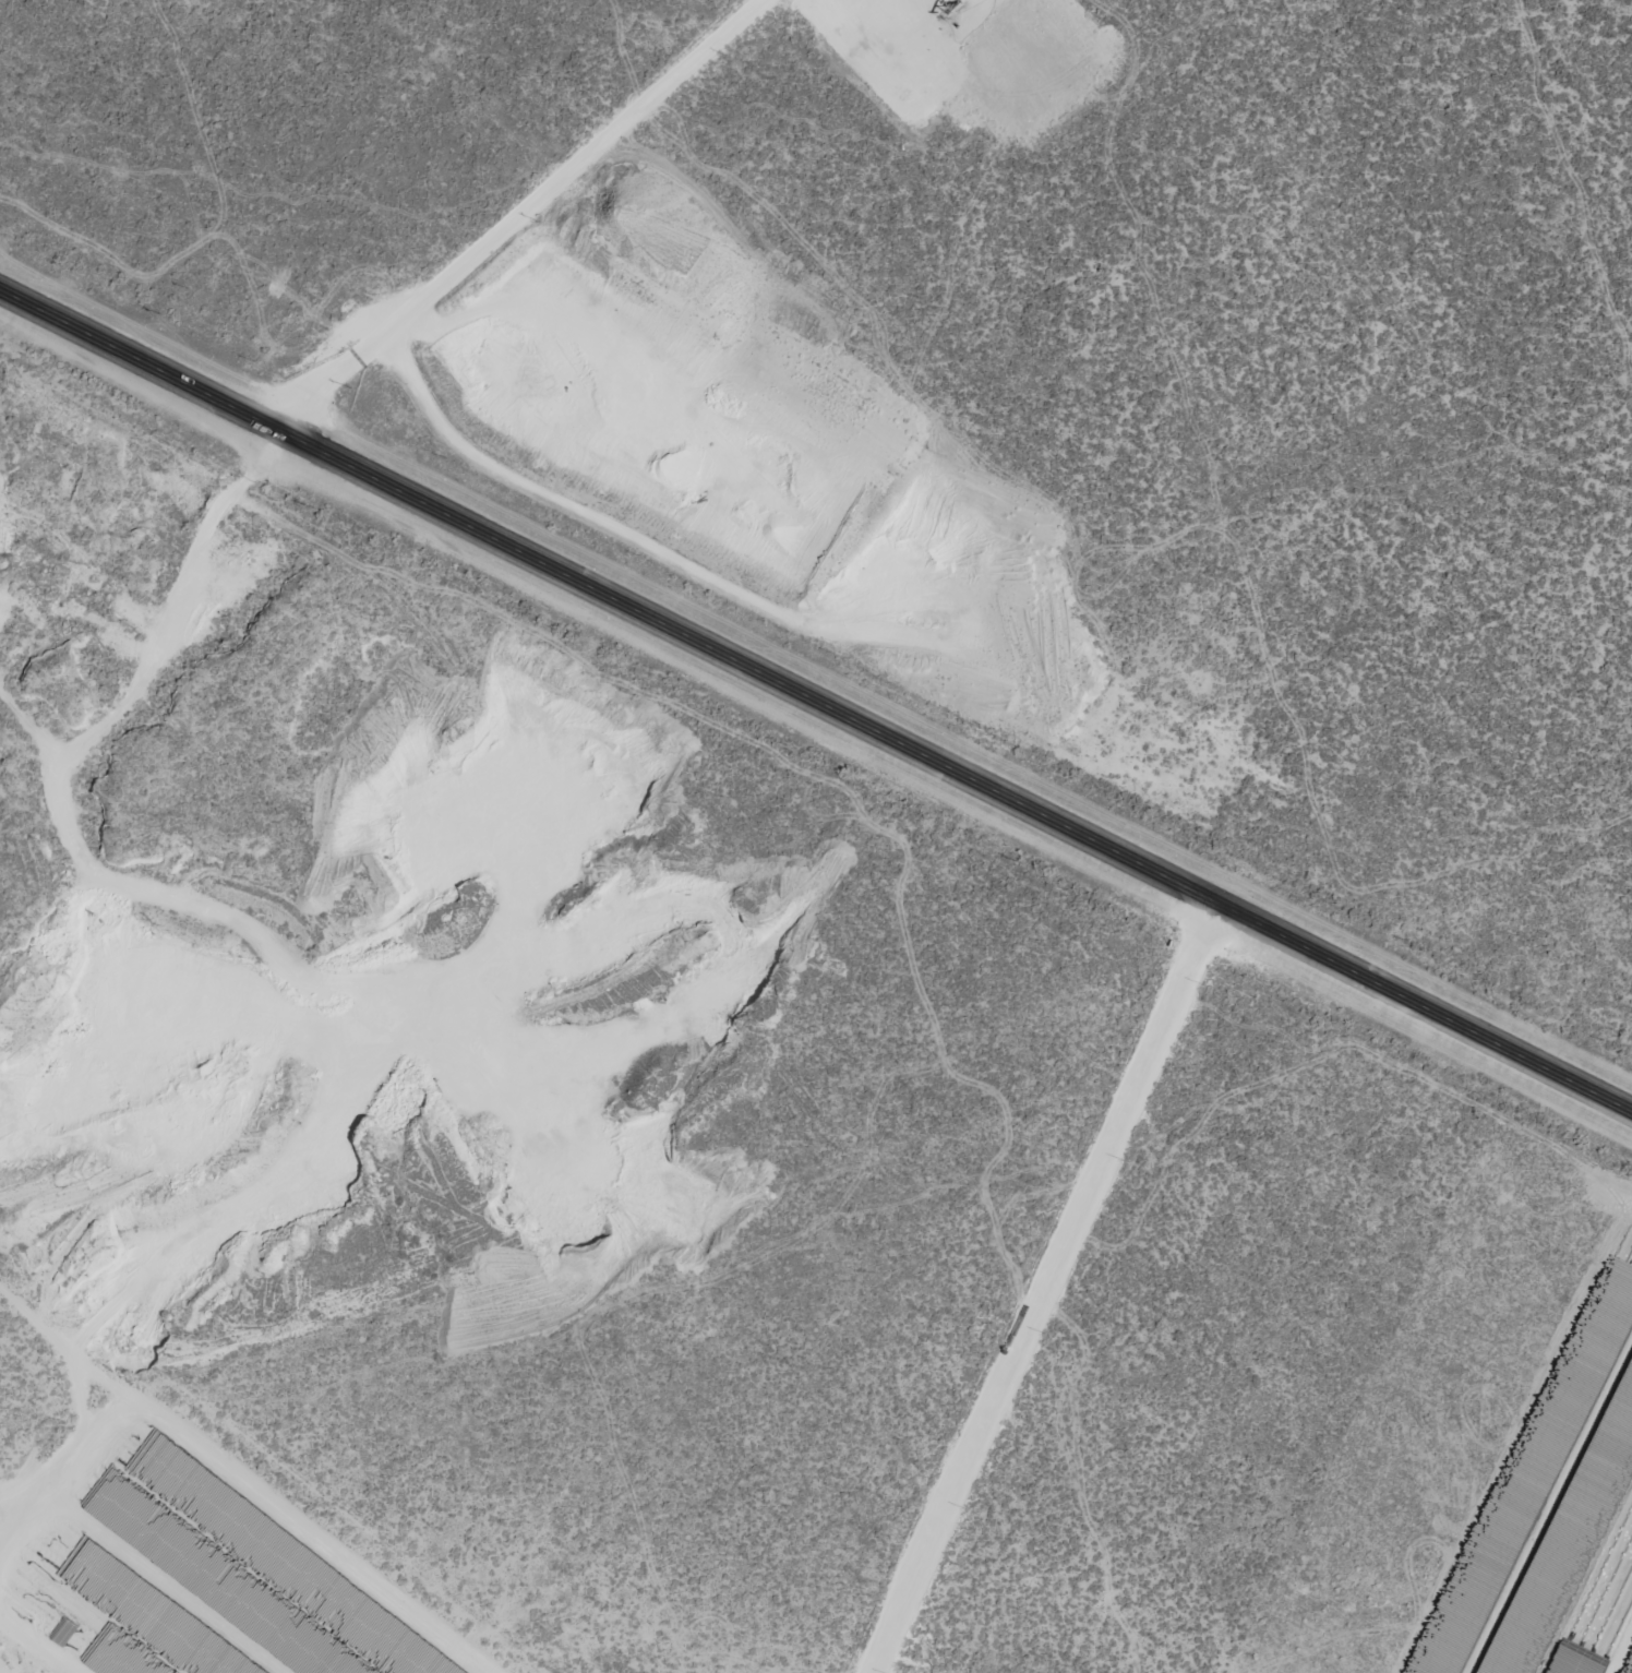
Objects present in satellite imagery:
road: (561, 219)
road: (819, 536)
road: (816, 700)

